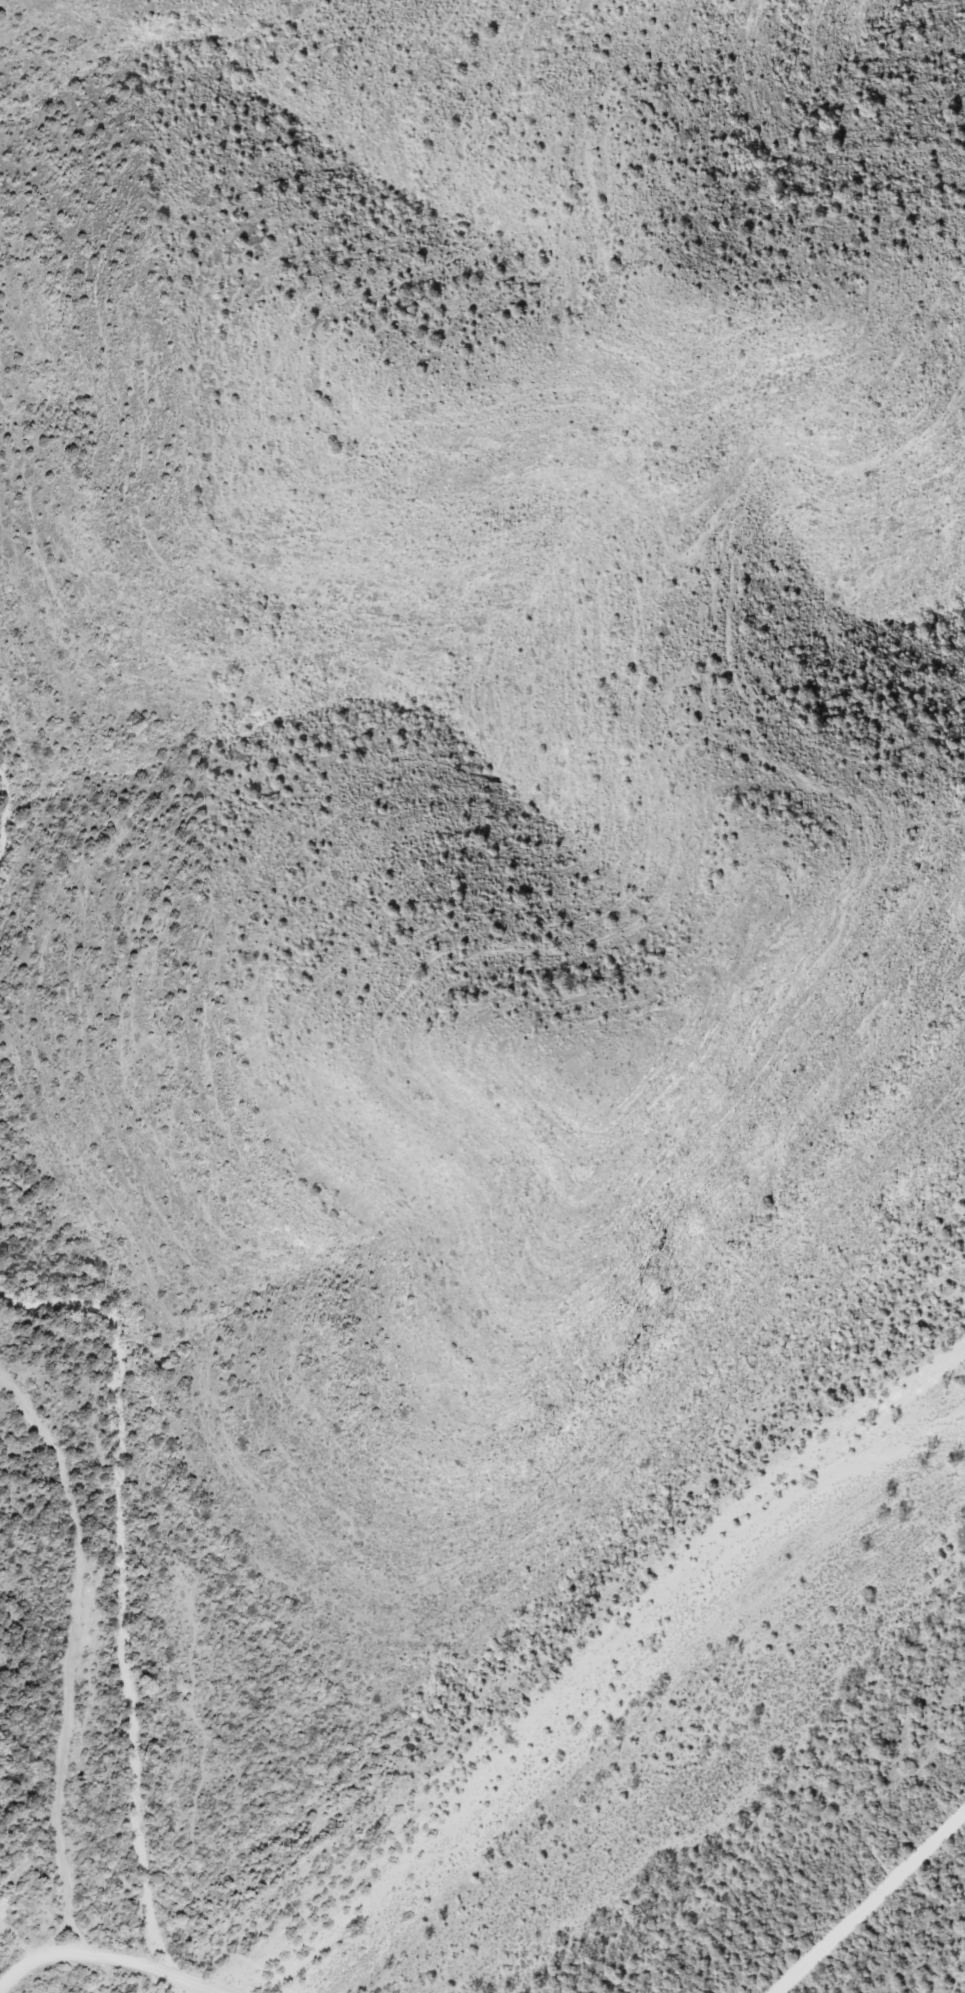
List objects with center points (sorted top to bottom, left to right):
road: (71, 1653)
river: (491, 1681)
road: (874, 1905)
road: (107, 1957)

